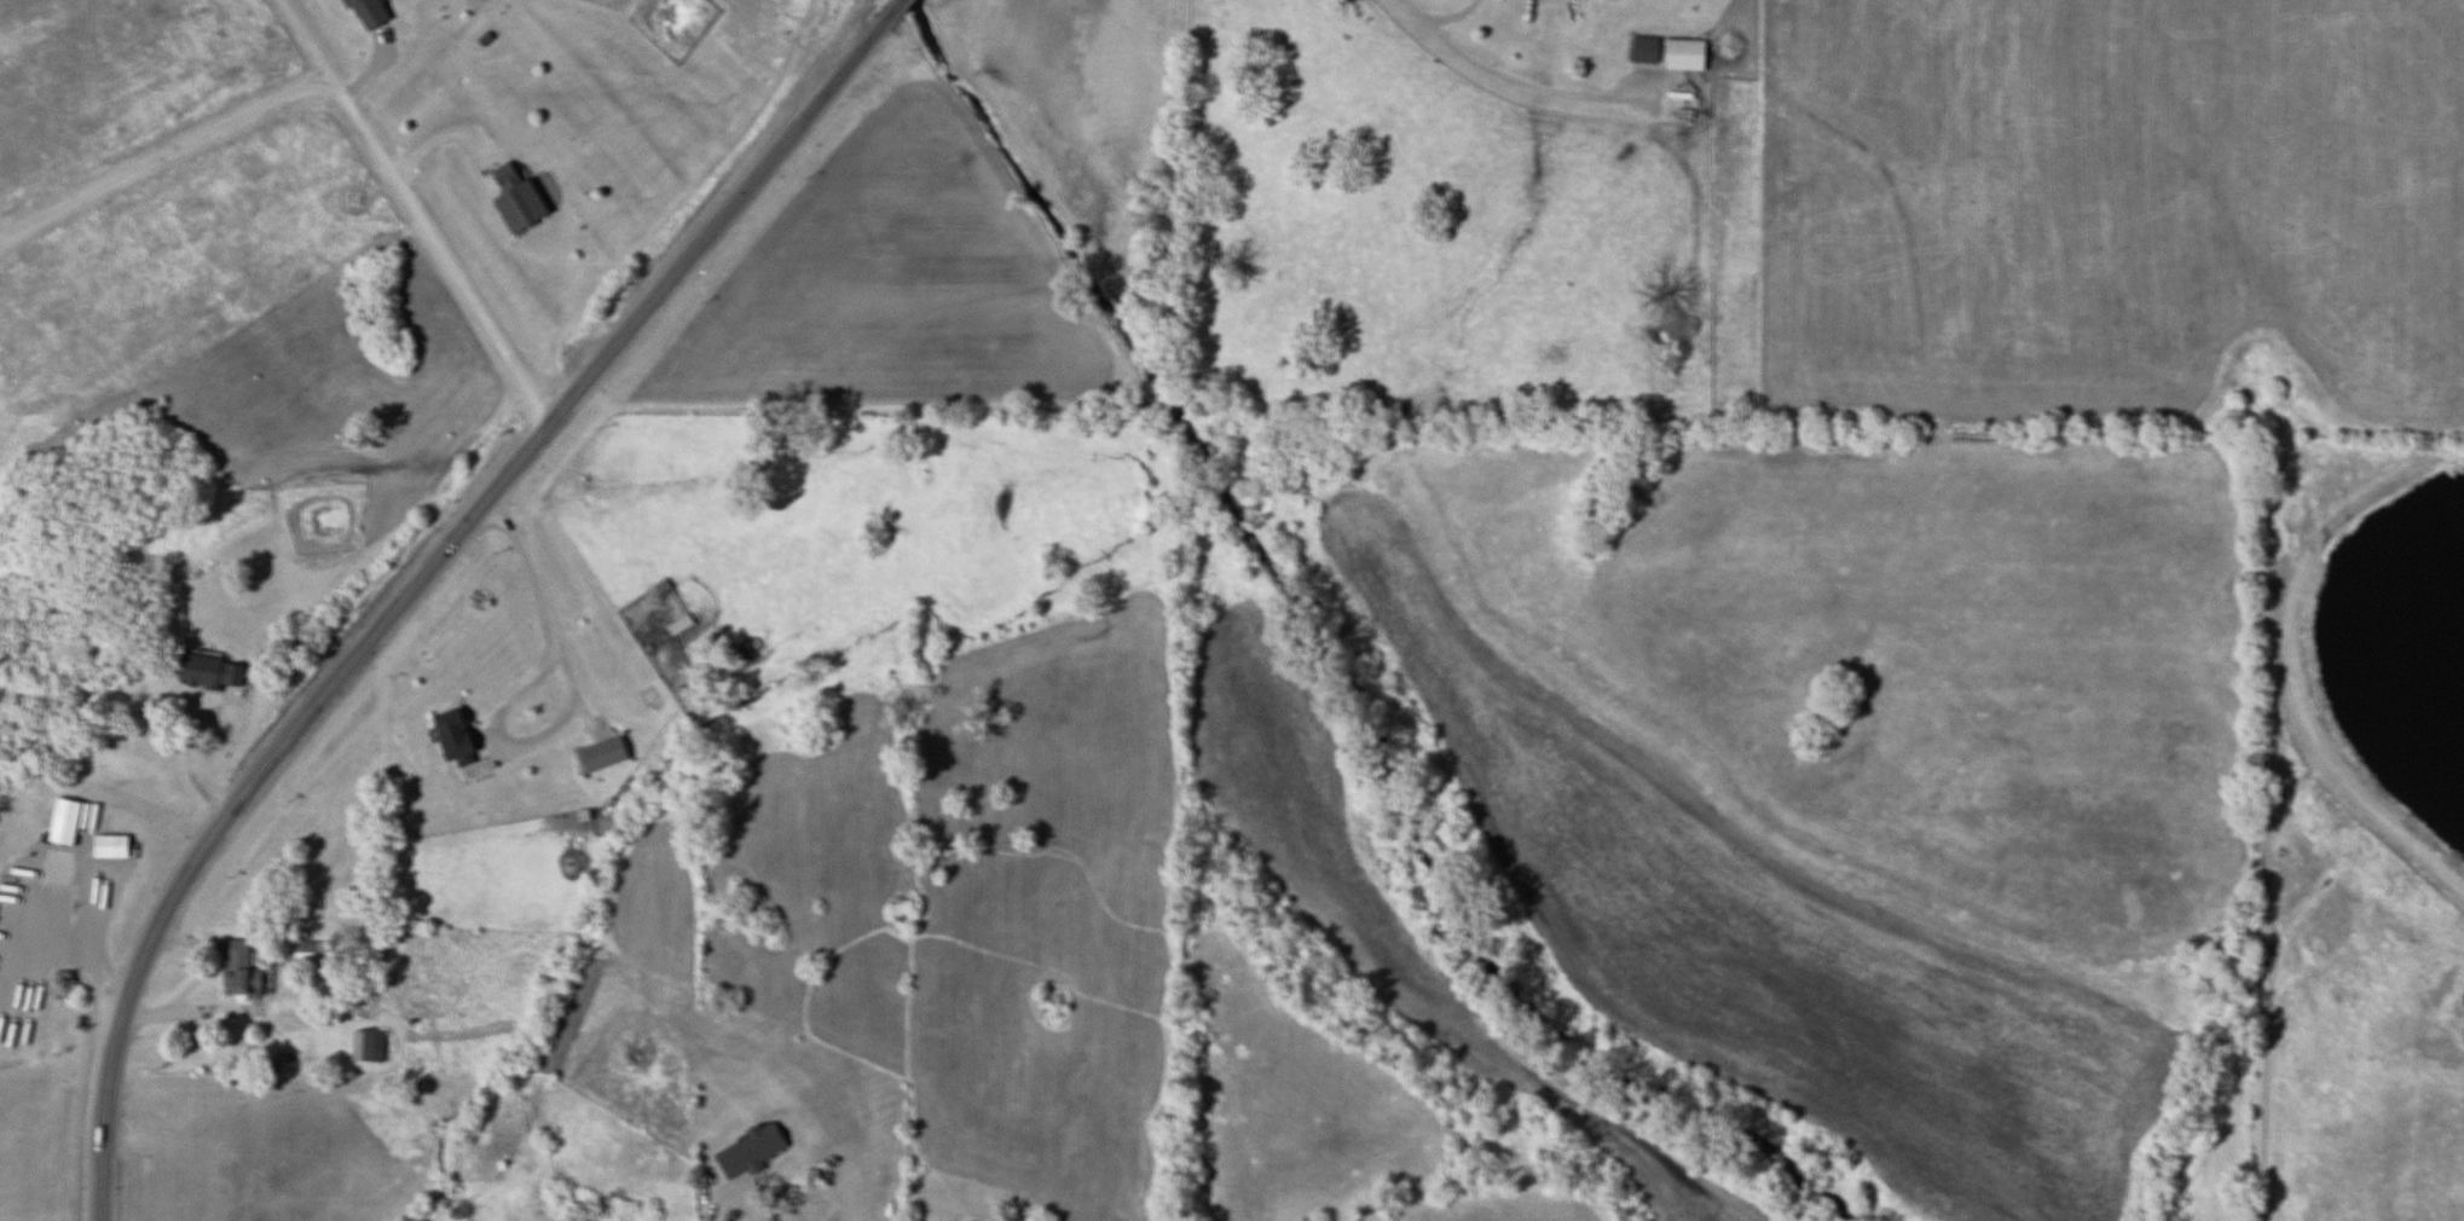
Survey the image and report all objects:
building: (363, 13)
building: (1641, 50)
building: (1682, 54)
building: (510, 199)
road: (415, 209)
road: (637, 313)
building: (207, 670)
park: (45, 701)
building: (450, 735)
building: (598, 754)
building: (63, 821)
building: (106, 845)
road: (169, 896)
road: (82, 941)
building: (307, 949)
building: (235, 968)
building: (364, 1044)

